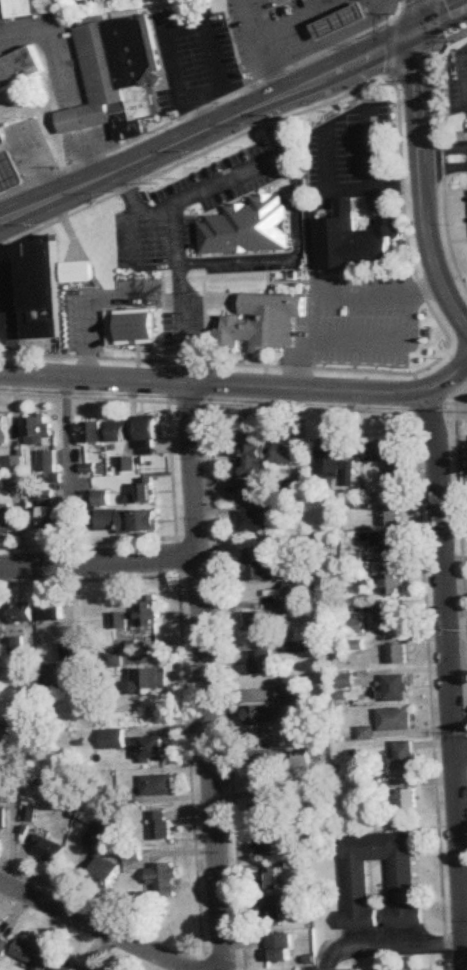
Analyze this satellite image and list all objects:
building: (289, 2)
building: (33, 8)
road: (250, 8)
road: (412, 8)
road: (318, 12)
road: (418, 16)
building: (341, 19)
road: (435, 19)
parking lot: (259, 20)
road: (443, 20)
road: (43, 31)
traffic signals: (420, 32)
road: (167, 35)
road: (434, 43)
road: (393, 46)
road: (267, 55)
parking lot: (194, 56)
road: (352, 62)
road: (411, 63)
building: (19, 68)
building: (135, 75)
building: (94, 79)
parking lot: (456, 81)
road: (465, 84)
road: (199, 108)
road: (247, 111)
building: (2, 135)
parking lot: (351, 147)
road: (372, 149)
road: (441, 150)
road: (193, 157)
road: (425, 157)
road: (327, 160)
road: (121, 169)
building: (9, 171)
road: (425, 180)
road: (212, 187)
road: (377, 190)
parking lot: (465, 205)
parking lot: (167, 206)
road: (17, 216)
building: (247, 227)
road: (128, 236)
building: (95, 240)
road: (457, 240)
building: (355, 241)
road: (311, 242)
road: (292, 255)
parking lot: (251, 268)
building: (76, 272)
road: (239, 274)
road: (243, 294)
road: (382, 294)
building: (37, 295)
road: (181, 295)
road: (97, 302)
parking lot: (7, 307)
parking lot: (85, 319)
parking lot: (362, 321)
building: (264, 323)
building: (130, 328)
road: (205, 329)
parking lot: (184, 330)
road: (385, 343)
road: (311, 344)
road: (370, 371)
road: (95, 379)
road: (332, 389)
building: (4, 429)
building: (39, 429)
building: (121, 431)
building: (91, 432)
building: (149, 435)
building: (289, 452)
building: (389, 457)
building: (336, 463)
building: (16, 464)
building: (255, 467)
building: (16, 485)
building: (300, 488)
building: (141, 492)
building: (102, 498)
building: (47, 516)
building: (392, 516)
building: (6, 519)
building: (127, 521)
building: (255, 521)
building: (389, 542)
road: (100, 563)
building: (258, 566)
building: (395, 584)
building: (294, 588)
building: (53, 610)
building: (23, 612)
building: (395, 614)
building: (139, 616)
building: (258, 621)
building: (18, 644)
building: (71, 652)
building: (399, 654)
building: (116, 659)
building: (261, 662)
road: (451, 674)
road: (208, 677)
building: (153, 681)
building: (397, 688)
building: (292, 694)
building: (262, 714)
building: (397, 719)
building: (114, 740)
building: (156, 748)
road: (461, 753)
building: (404, 758)
building: (263, 770)
building: (159, 785)
building: (409, 799)
building: (268, 808)
building: (4, 819)
building: (162, 825)
building: (93, 844)
building: (268, 845)
building: (53, 850)
building: (105, 872)
building: (270, 877)
building: (163, 880)
building: (358, 885)
building: (275, 911)
road: (106, 930)
road: (390, 946)
building: (2, 947)
building: (278, 949)
building: (32, 956)
building: (63, 965)
road: (220, 966)
road: (182, 967)

